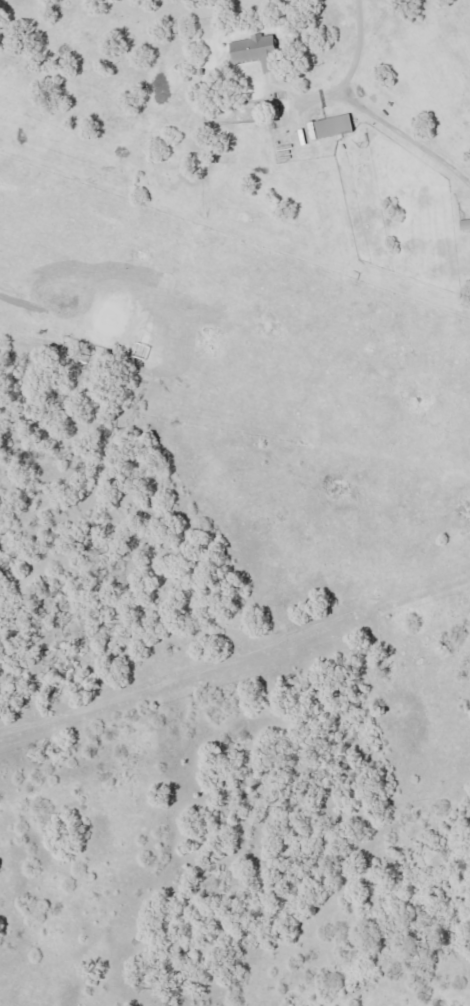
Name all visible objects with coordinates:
building: (250, 48)
building: (327, 126)
building: (463, 224)

